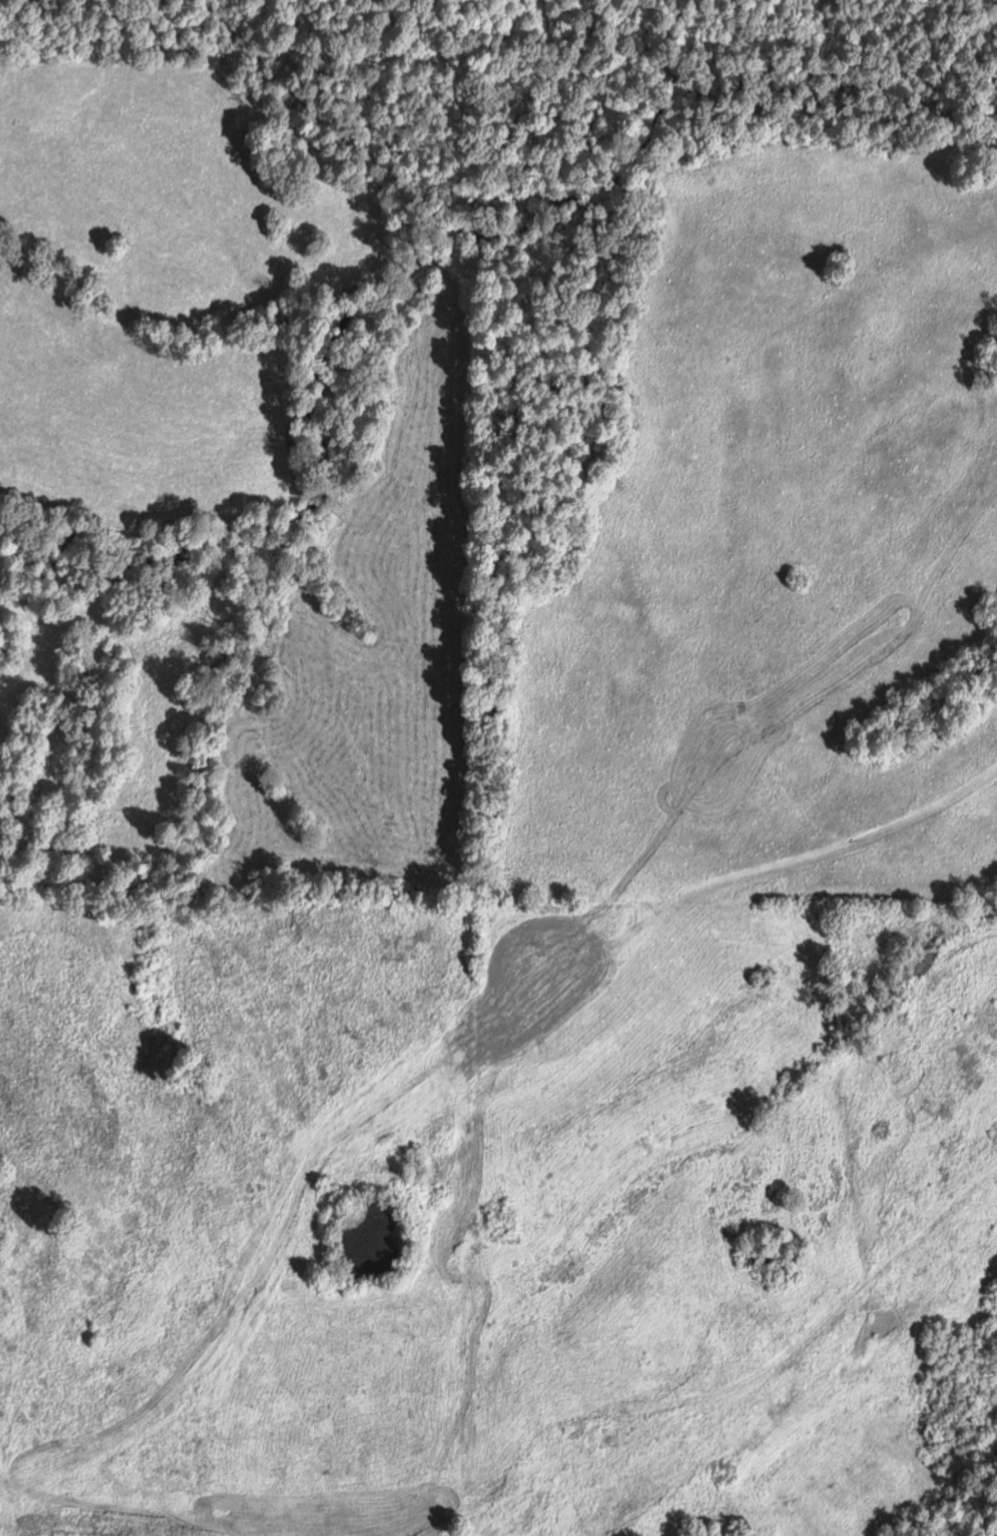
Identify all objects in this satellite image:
road: (855, 1303)

